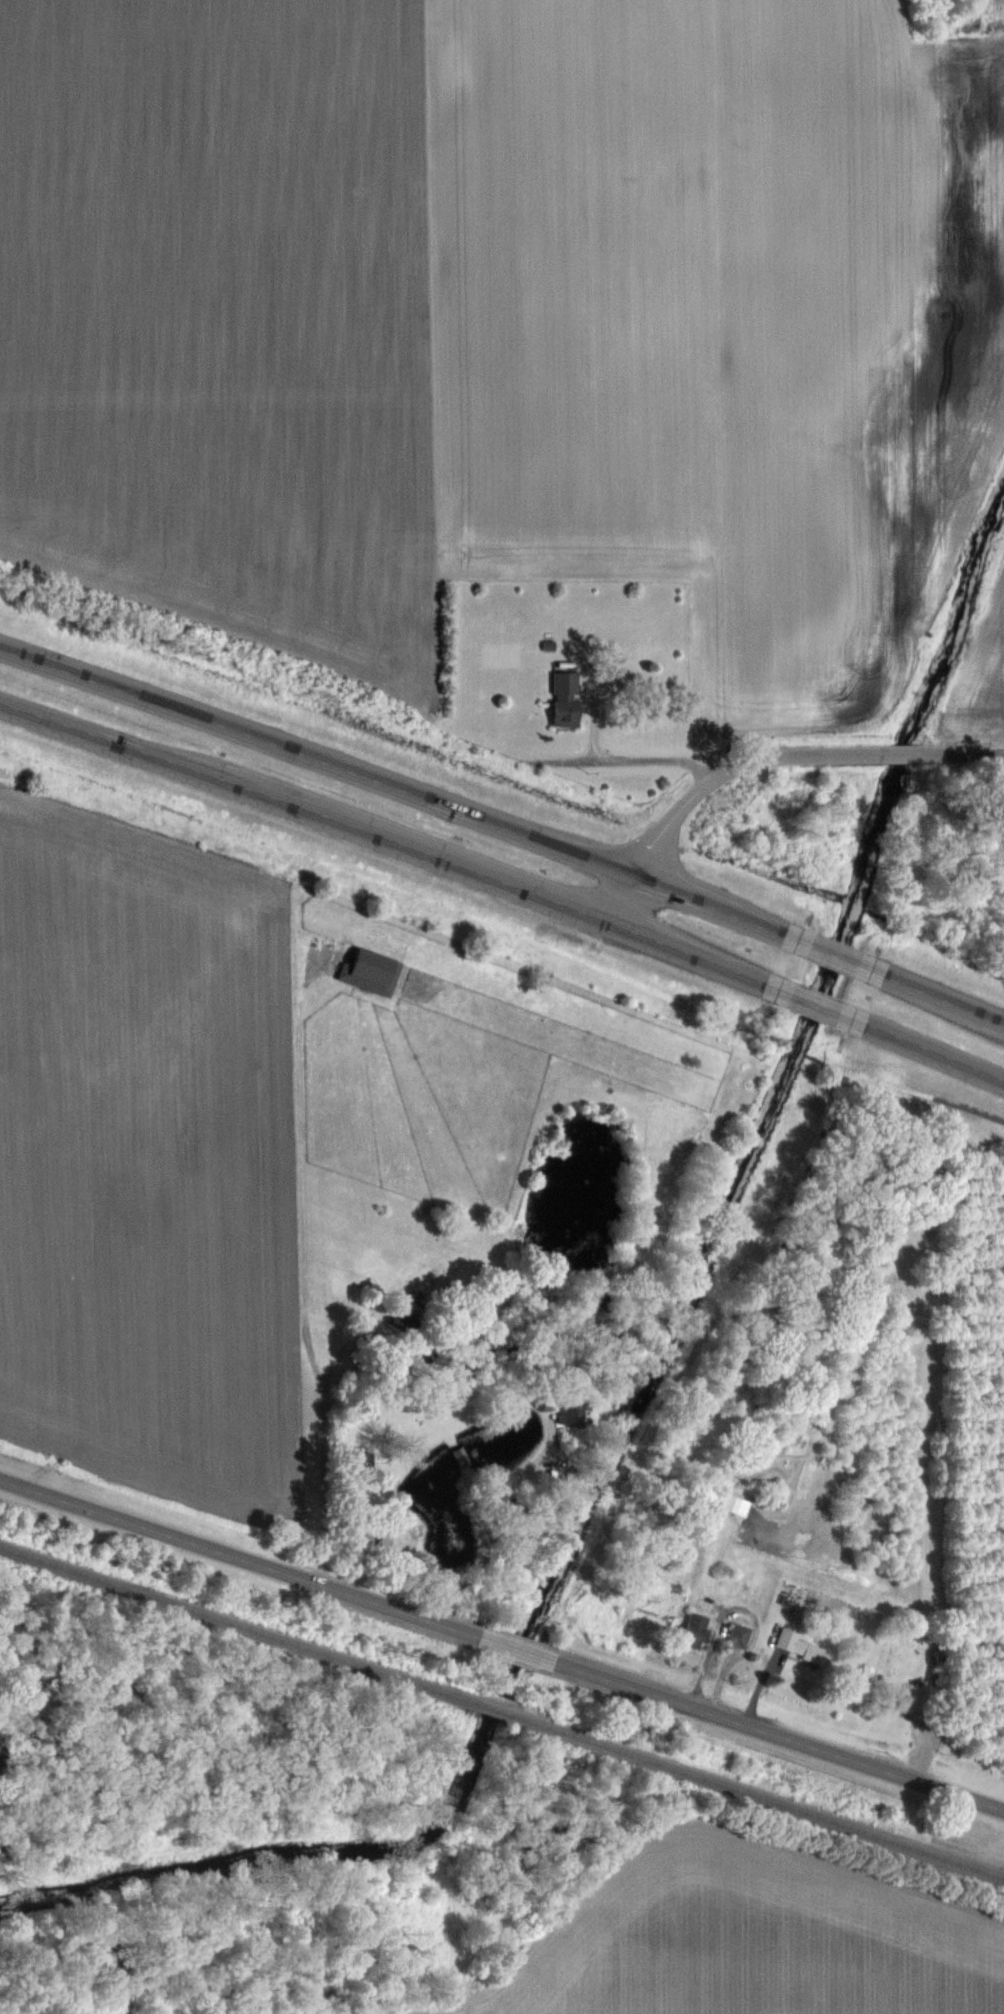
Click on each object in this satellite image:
building: (561, 711)
road: (965, 752)
road: (911, 753)
road: (623, 754)
road: (717, 778)
road: (394, 786)
road: (384, 836)
road: (835, 954)
building: (368, 970)
road: (944, 998)
road: (816, 1001)
road: (935, 1050)
crop: (149, 1164)
road: (311, 1371)
building: (574, 1411)
building: (358, 1463)
building: (734, 1504)
road: (472, 1517)
road: (237, 1557)
railway: (239, 1623)
building: (691, 1630)
building: (736, 1634)
building: (799, 1646)
road: (513, 1648)
building: (909, 1698)
railway: (493, 1707)
road: (777, 1735)
railway: (756, 1793)

